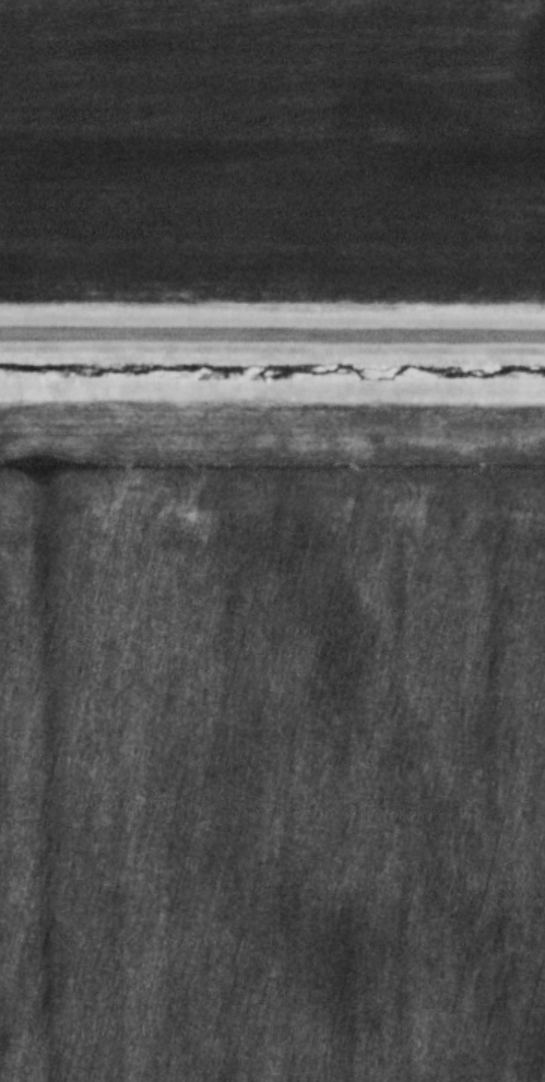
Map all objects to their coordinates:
crop: (272, 152)
road: (272, 330)
crop: (272, 741)

